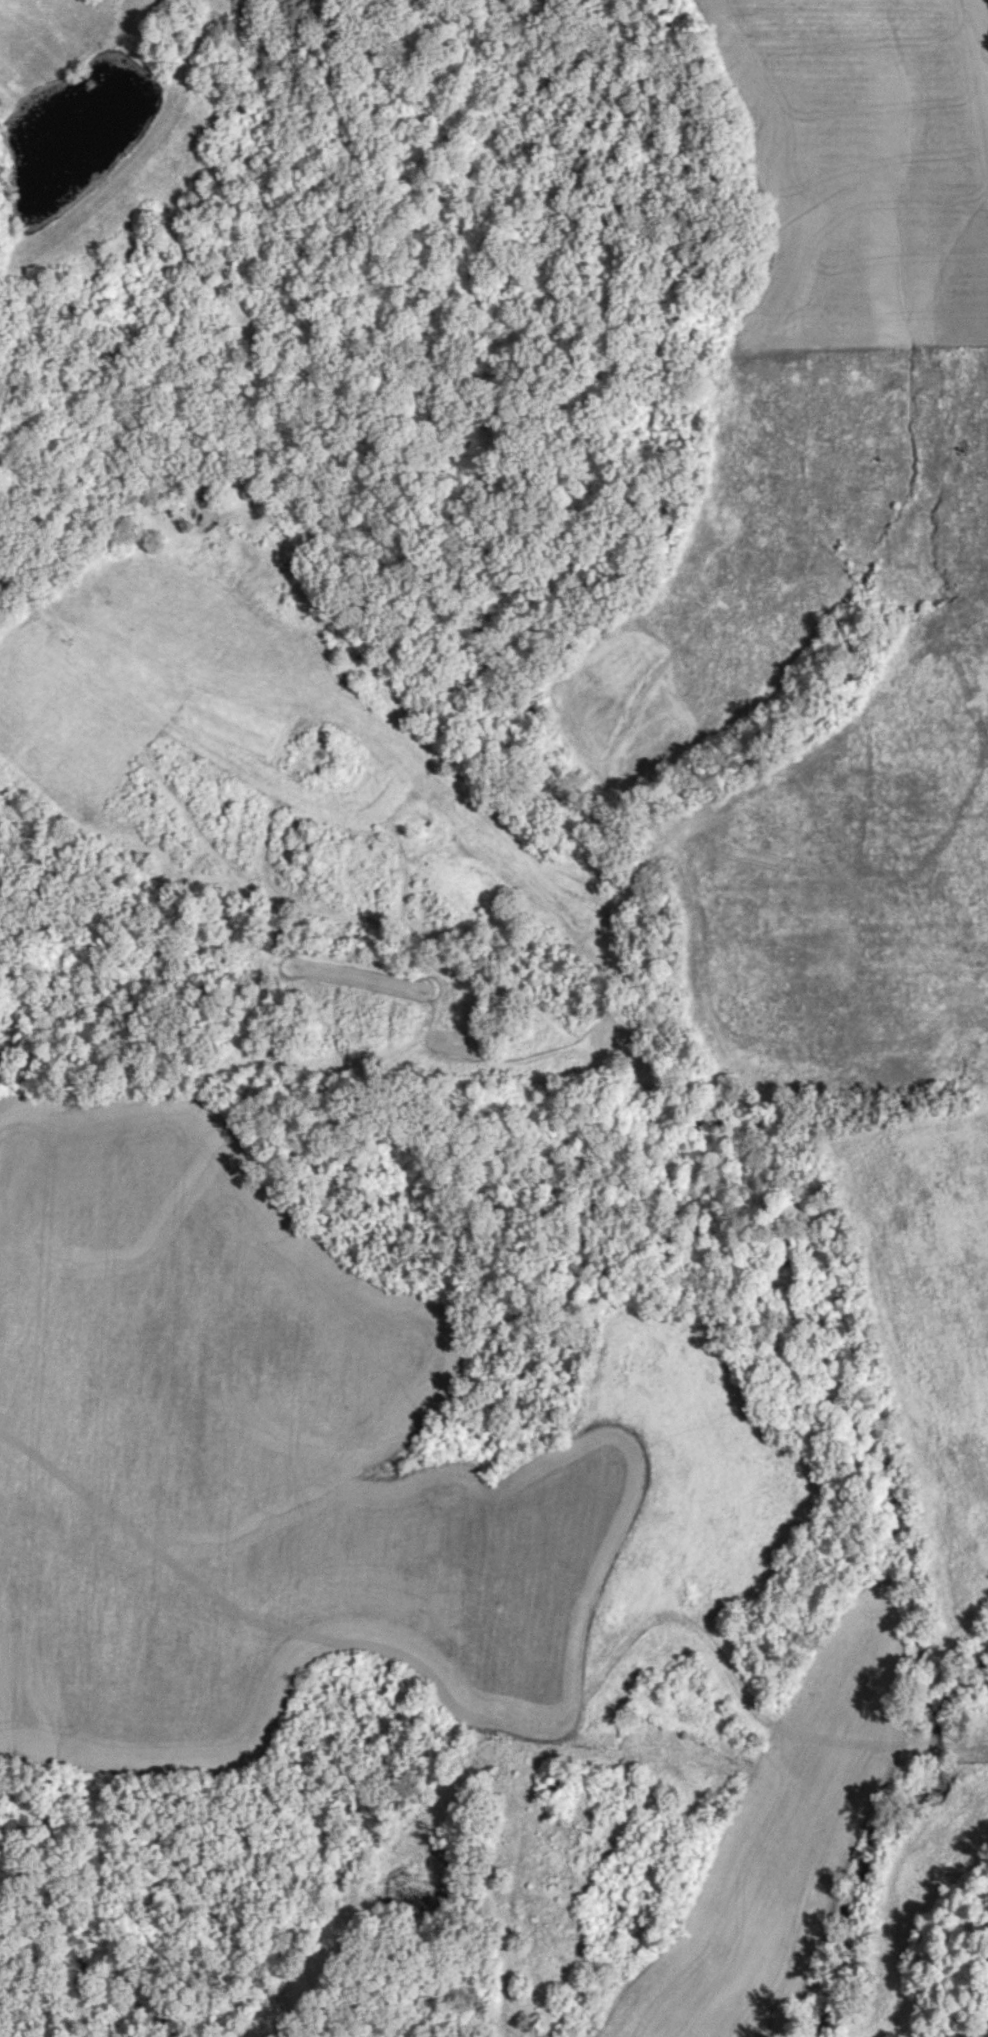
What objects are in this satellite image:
road: (491, 1964)

